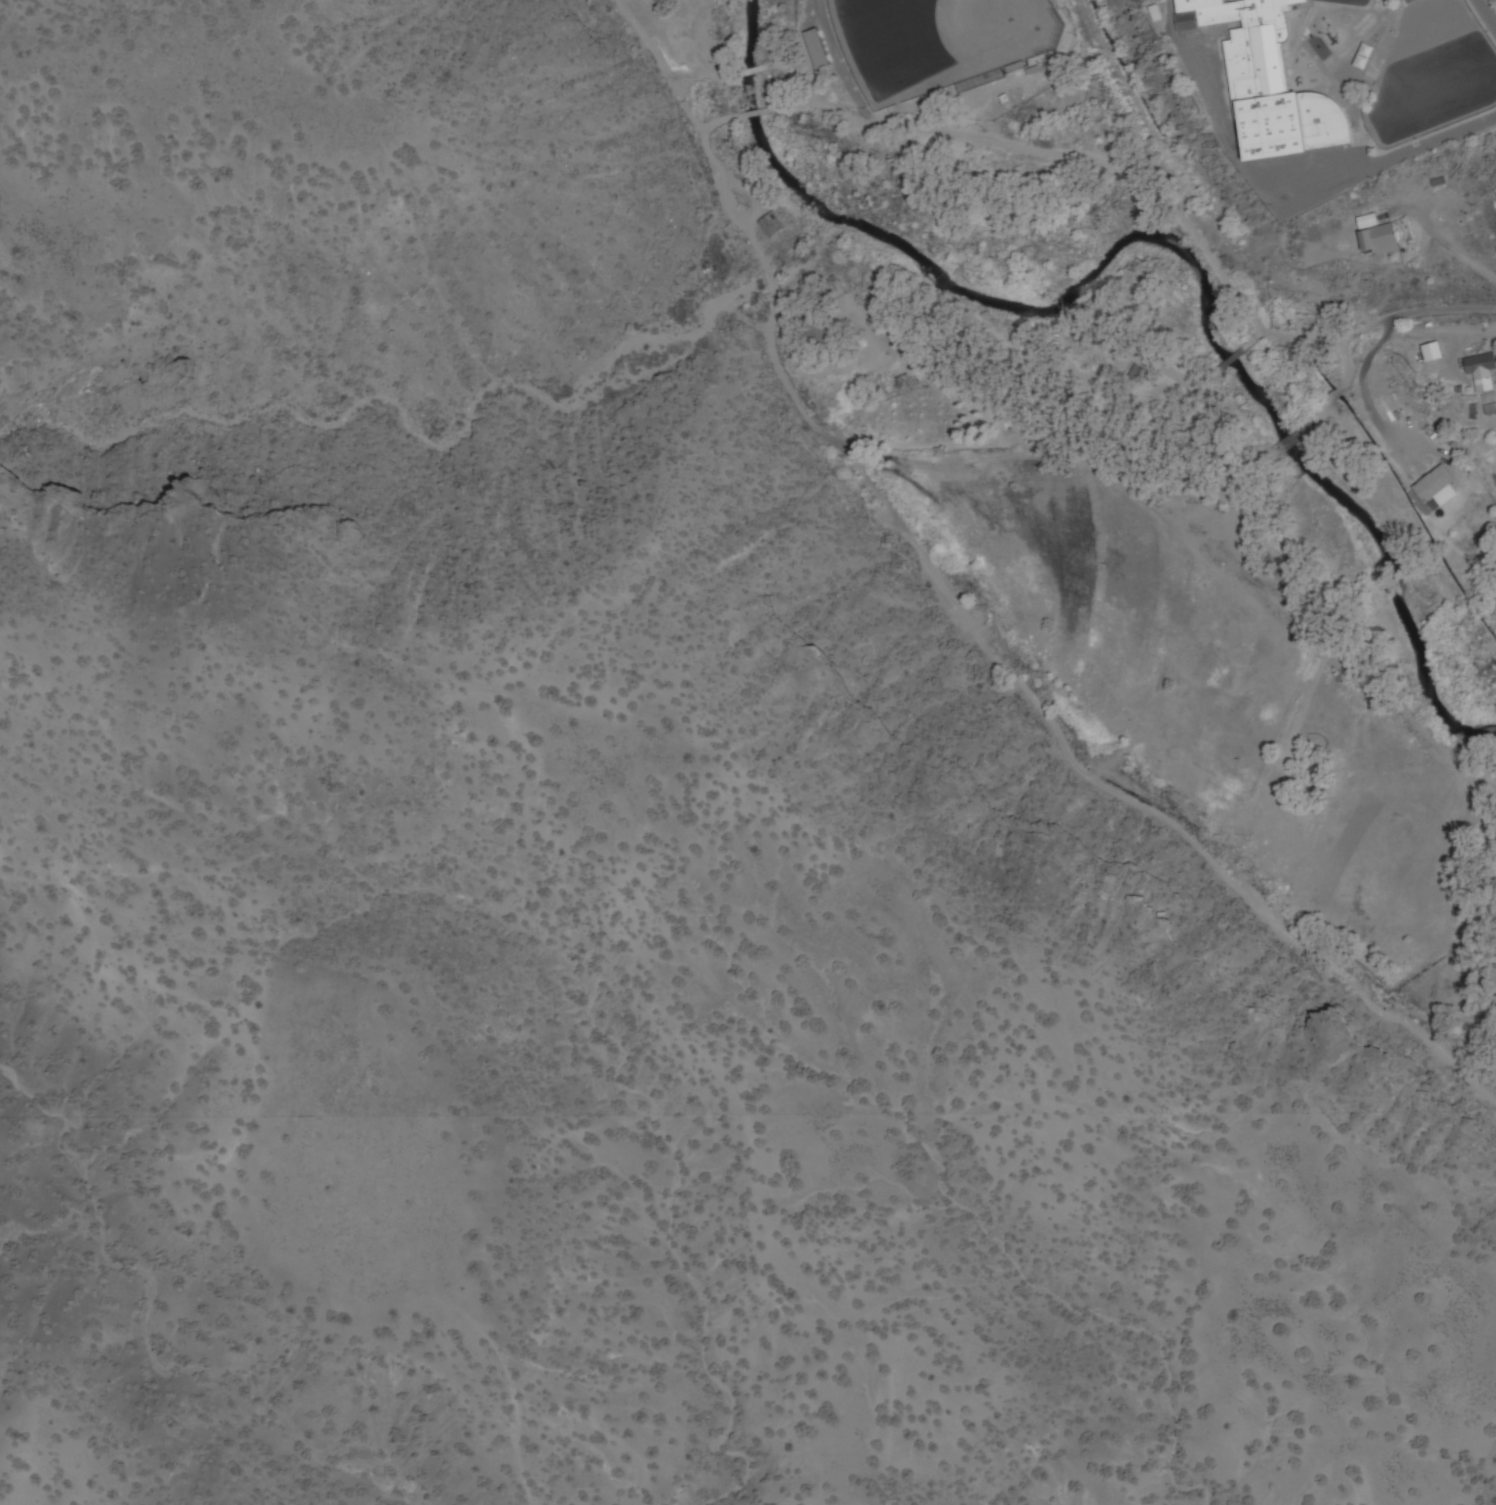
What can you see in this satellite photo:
building: (1418, 0)
building: (1451, 11)
park: (918, 37)
road: (836, 63)
building: (1267, 78)
road: (666, 79)
road: (748, 115)
road: (722, 178)
road: (1155, 197)
building: (771, 227)
building: (1378, 237)
road: (767, 326)
building: (816, 330)
building: (1427, 360)
building: (1481, 372)
building: (1136, 373)
building: (1433, 484)
road: (1122, 800)

